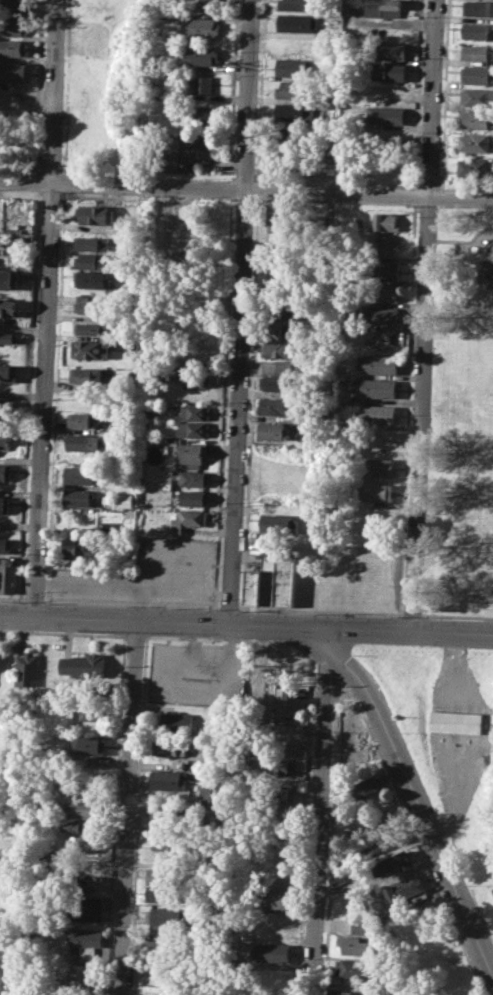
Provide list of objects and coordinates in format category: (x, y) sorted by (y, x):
building: (205, 4)
building: (298, 4)
building: (350, 5)
building: (13, 6)
building: (478, 7)
building: (385, 8)
building: (297, 22)
building: (13, 26)
building: (202, 27)
building: (478, 30)
building: (13, 48)
building: (392, 50)
building: (478, 52)
building: (199, 55)
building: (293, 68)
building: (391, 71)
building: (13, 72)
building: (477, 75)
building: (204, 85)
road: (260, 90)
building: (292, 90)
building: (387, 92)
building: (477, 96)
building: (203, 113)
building: (290, 113)
building: (386, 114)
building: (477, 119)
building: (475, 141)
building: (194, 147)
building: (476, 166)
road: (246, 188)
road: (256, 189)
building: (96, 214)
building: (359, 218)
building: (319, 221)
building: (386, 222)
building: (280, 223)
building: (182, 234)
building: (91, 242)
building: (388, 244)
building: (91, 261)
building: (384, 271)
building: (8, 278)
building: (90, 279)
building: (384, 292)
building: (90, 303)
building: (7, 307)
road: (46, 308)
road: (240, 311)
building: (384, 315)
road: (422, 315)
building: (89, 329)
building: (8, 337)
building: (90, 348)
building: (279, 349)
building: (383, 364)
building: (285, 366)
building: (8, 372)
building: (85, 375)
building: (195, 379)
building: (276, 383)
building: (379, 388)
road: (249, 403)
building: (274, 407)
building: (147, 408)
building: (7, 411)
building: (192, 412)
building: (376, 414)
building: (83, 419)
park: (460, 422)
building: (191, 430)
building: (271, 431)
building: (4, 440)
building: (83, 442)
park: (471, 447)
building: (192, 453)
building: (376, 466)
building: (6, 471)
building: (80, 474)
building: (193, 479)
building: (374, 491)
building: (79, 497)
building: (193, 498)
building: (107, 499)
building: (125, 500)
building: (5, 505)
building: (187, 520)
building: (277, 524)
building: (5, 545)
building: (78, 546)
parking lot: (146, 574)
building: (9, 576)
building: (271, 581)
road: (12, 598)
road: (34, 599)
road: (131, 603)
road: (228, 607)
road: (320, 610)
road: (410, 614)
road: (456, 615)
road: (246, 624)
building: (0, 661)
building: (85, 665)
building: (29, 668)
parking lot: (197, 673)
building: (287, 703)
building: (91, 710)
building: (350, 717)
building: (180, 719)
building: (457, 721)
building: (90, 744)
building: (174, 747)
building: (283, 766)
building: (169, 779)
building: (362, 786)
building: (210, 793)
building: (275, 794)
road: (416, 800)
road: (130, 807)
building: (86, 808)
road: (320, 811)
building: (160, 812)
building: (75, 827)
building: (384, 838)
building: (170, 842)
building: (88, 843)
building: (397, 861)
building: (166, 876)
building: (409, 886)
building: (166, 893)
building: (275, 899)
building: (88, 910)
building: (167, 916)
building: (362, 926)
building: (88, 942)
building: (354, 944)
building: (164, 947)
building: (272, 952)
building: (354, 967)
building: (81, 976)
building: (355, 992)

